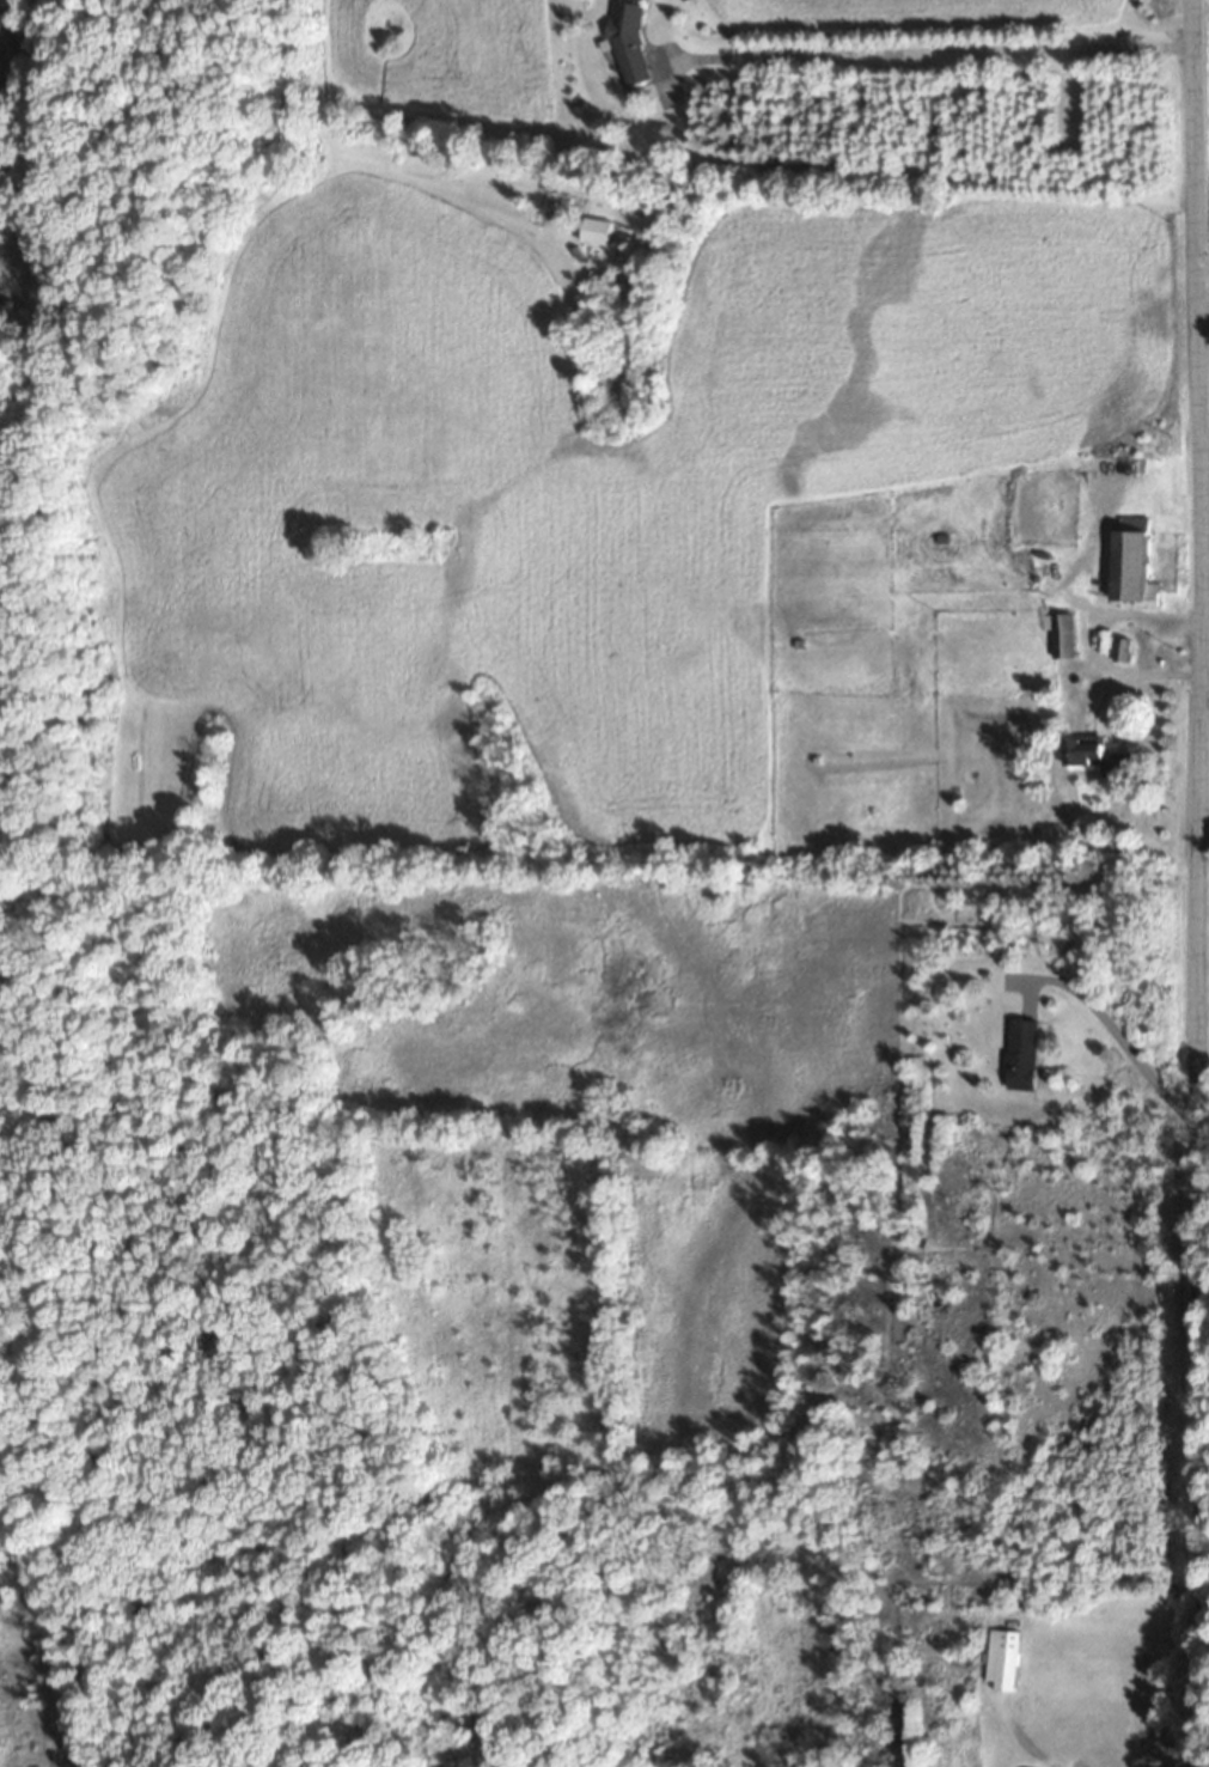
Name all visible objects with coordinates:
building: (629, 42)
road: (926, 53)
building: (594, 230)
building: (1132, 559)
building: (1060, 633)
building: (1119, 648)
building: (1095, 754)
road: (1201, 831)
road: (1190, 883)
building: (1020, 1053)
building: (997, 1657)

